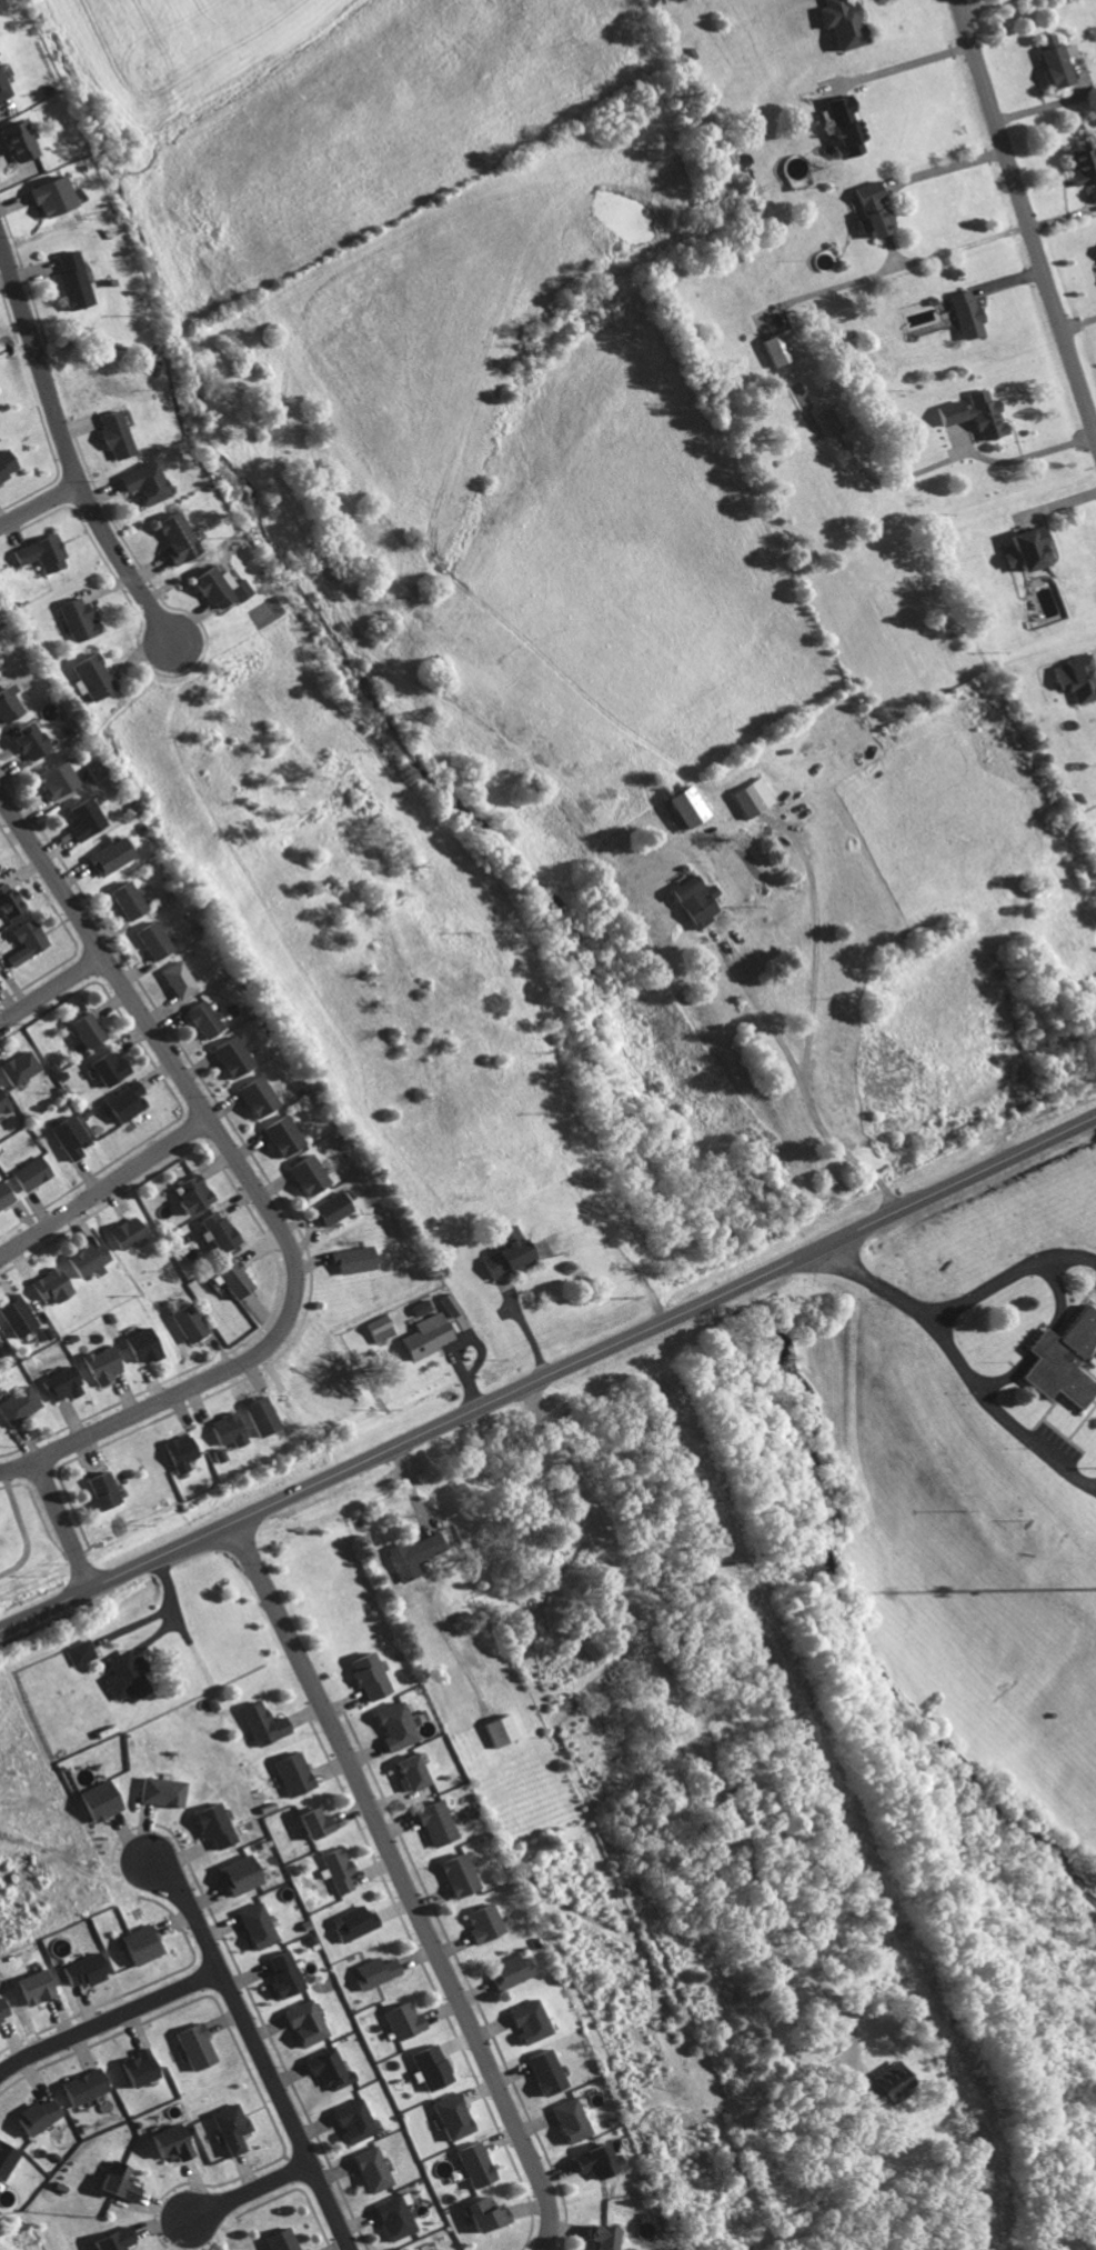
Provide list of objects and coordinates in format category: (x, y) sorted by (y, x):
building: (841, 22)
building: (1050, 61)
road: (899, 68)
building: (0, 93)
building: (843, 126)
building: (12, 141)
building: (1079, 164)
building: (46, 197)
building: (869, 210)
road: (1024, 220)
road: (899, 266)
building: (67, 279)
road: (586, 279)
building: (965, 313)
building: (780, 348)
road: (14, 349)
building: (974, 414)
building: (832, 420)
building: (110, 434)
road: (61, 443)
building: (3, 463)
building: (139, 483)
road: (675, 499)
road: (38, 506)
building: (170, 538)
building: (1024, 550)
building: (37, 553)
building: (212, 587)
building: (72, 619)
building: (89, 674)
building: (1076, 677)
road: (766, 690)
building: (6, 703)
road: (569, 710)
building: (22, 740)
building: (51, 777)
building: (752, 797)
building: (684, 804)
building: (78, 817)
building: (103, 856)
building: (122, 899)
building: (6, 900)
building: (695, 900)
road: (822, 928)
building: (148, 939)
building: (22, 940)
building: (173, 978)
road: (50, 986)
building: (199, 1018)
building: (82, 1028)
road: (926, 1041)
building: (227, 1054)
building: (16, 1067)
building: (104, 1068)
building: (252, 1094)
building: (121, 1101)
building: (0, 1109)
building: (278, 1134)
building: (67, 1136)
building: (27, 1172)
building: (303, 1173)
road: (245, 1177)
road: (103, 1183)
building: (189, 1193)
building: (2, 1197)
building: (329, 1208)
building: (214, 1230)
building: (122, 1231)
building: (501, 1253)
building: (81, 1258)
building: (350, 1259)
road: (1009, 1270)
building: (46, 1284)
road: (871, 1286)
building: (448, 1303)
building: (420, 1306)
building: (13, 1316)
building: (184, 1321)
building: (379, 1328)
building: (424, 1336)
building: (138, 1344)
building: (1060, 1359)
building: (98, 1364)
road: (547, 1374)
building: (57, 1383)
building: (16, 1404)
road: (999, 1413)
building: (255, 1414)
building: (222, 1429)
building: (175, 1451)
road: (17, 1461)
building: (95, 1489)
road: (61, 1522)
building: (411, 1554)
building: (77, 1652)
building: (362, 1674)
building: (122, 1676)
road: (685, 1721)
building: (258, 1723)
building: (389, 1727)
building: (497, 1729)
building: (404, 1772)
building: (288, 1773)
building: (159, 1791)
building: (95, 1801)
building: (306, 1822)
building: (431, 1822)
building: (211, 1824)
building: (334, 1869)
building: (454, 1874)
building: (235, 1876)
road: (400, 1883)
building: (480, 1922)
building: (349, 1923)
building: (253, 1926)
building: (138, 1944)
building: (79, 1970)
building: (506, 1971)
building: (371, 1972)
building: (280, 1974)
building: (30, 1988)
building: (2, 2014)
road: (107, 2016)
building: (399, 2020)
building: (525, 2021)
building: (301, 2022)
building: (192, 2046)
road: (255, 2049)
building: (426, 2067)
building: (135, 2068)
building: (324, 2068)
building: (543, 2071)
building: (883, 2083)
building: (80, 2087)
building: (34, 2116)
building: (448, 2117)
building: (569, 2120)
building: (349, 2121)
building: (225, 2128)
building: (167, 2142)
building: (6, 2159)
building: (594, 2161)
building: (472, 2164)
building: (368, 2169)
building: (114, 2182)
road: (247, 2189)
building: (482, 2213)
building: (392, 2217)
building: (597, 2238)
building: (110, 2240)
building: (278, 2240)
building: (436, 2249)

